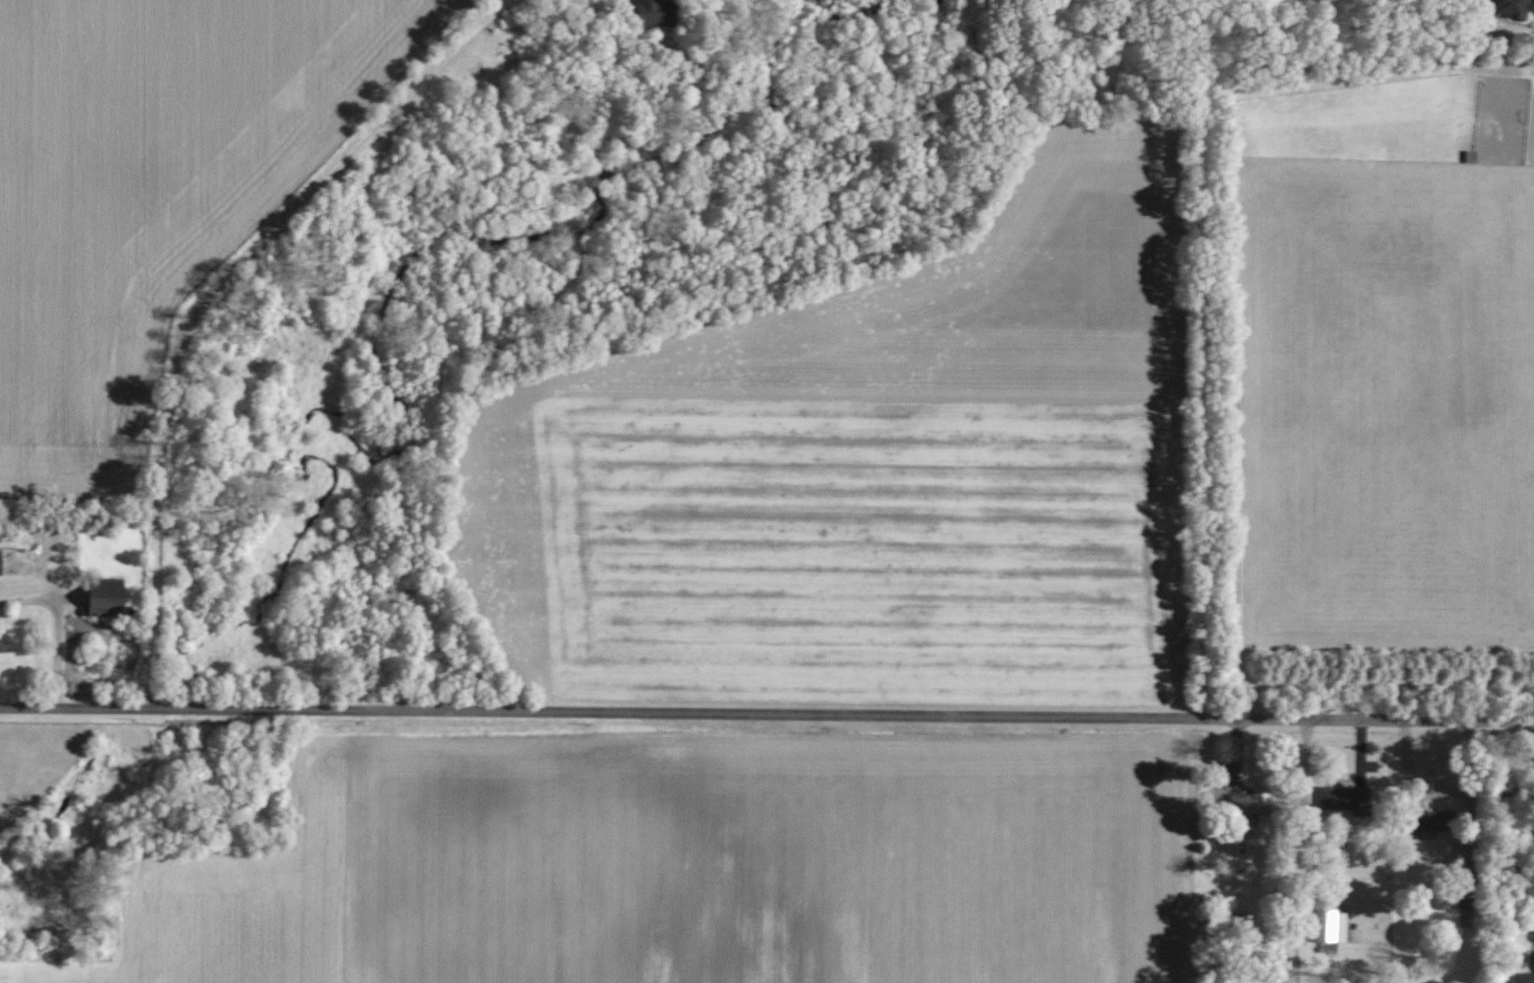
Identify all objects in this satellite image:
building: (1516, 8)
building: (657, 13)
road: (208, 296)
building: (1, 564)
building: (110, 604)
road: (767, 714)
building: (1345, 798)
building: (1253, 802)
building: (1437, 821)
building: (1332, 925)
building: (1524, 977)

